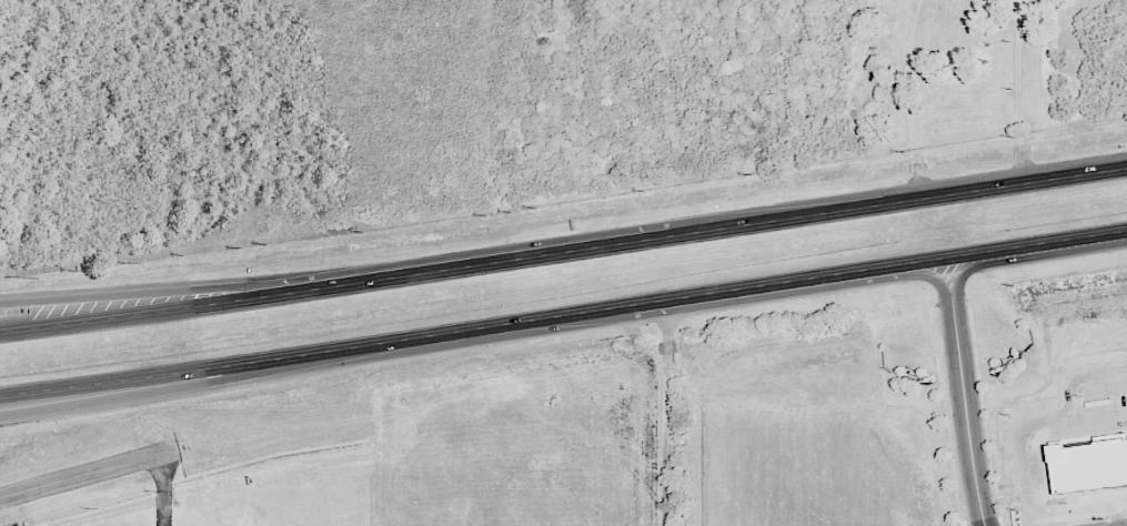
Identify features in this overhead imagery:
road: (1016, 90)
road: (907, 97)
road: (563, 249)
road: (960, 269)
road: (932, 273)
road: (202, 287)
road: (563, 314)
road: (1096, 373)
road: (161, 387)
road: (1068, 397)
road: (965, 409)
road: (666, 412)
road: (1071, 417)
building: (1085, 463)
road: (1025, 469)
road: (90, 476)
road: (163, 492)
road: (1079, 508)
road: (1118, 515)

